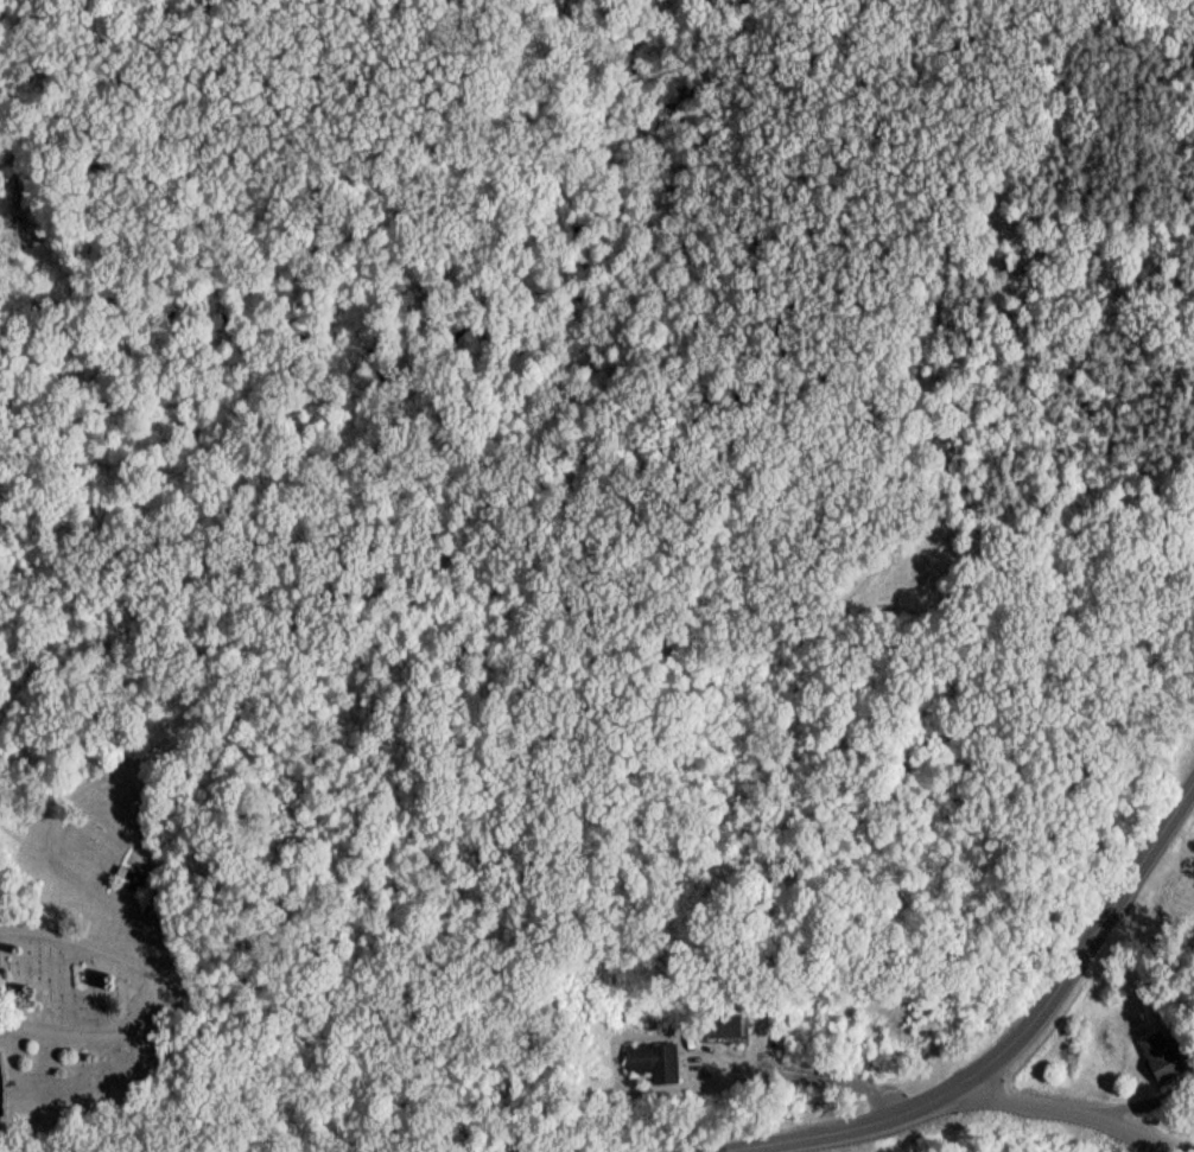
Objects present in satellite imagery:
road: (74, 791)
road: (153, 931)
road: (82, 943)
road: (1088, 947)
park: (108, 957)
building: (719, 1031)
road: (116, 1035)
building: (1156, 1062)
building: (649, 1068)
road: (801, 1076)
road: (1073, 1115)
road: (825, 1125)

